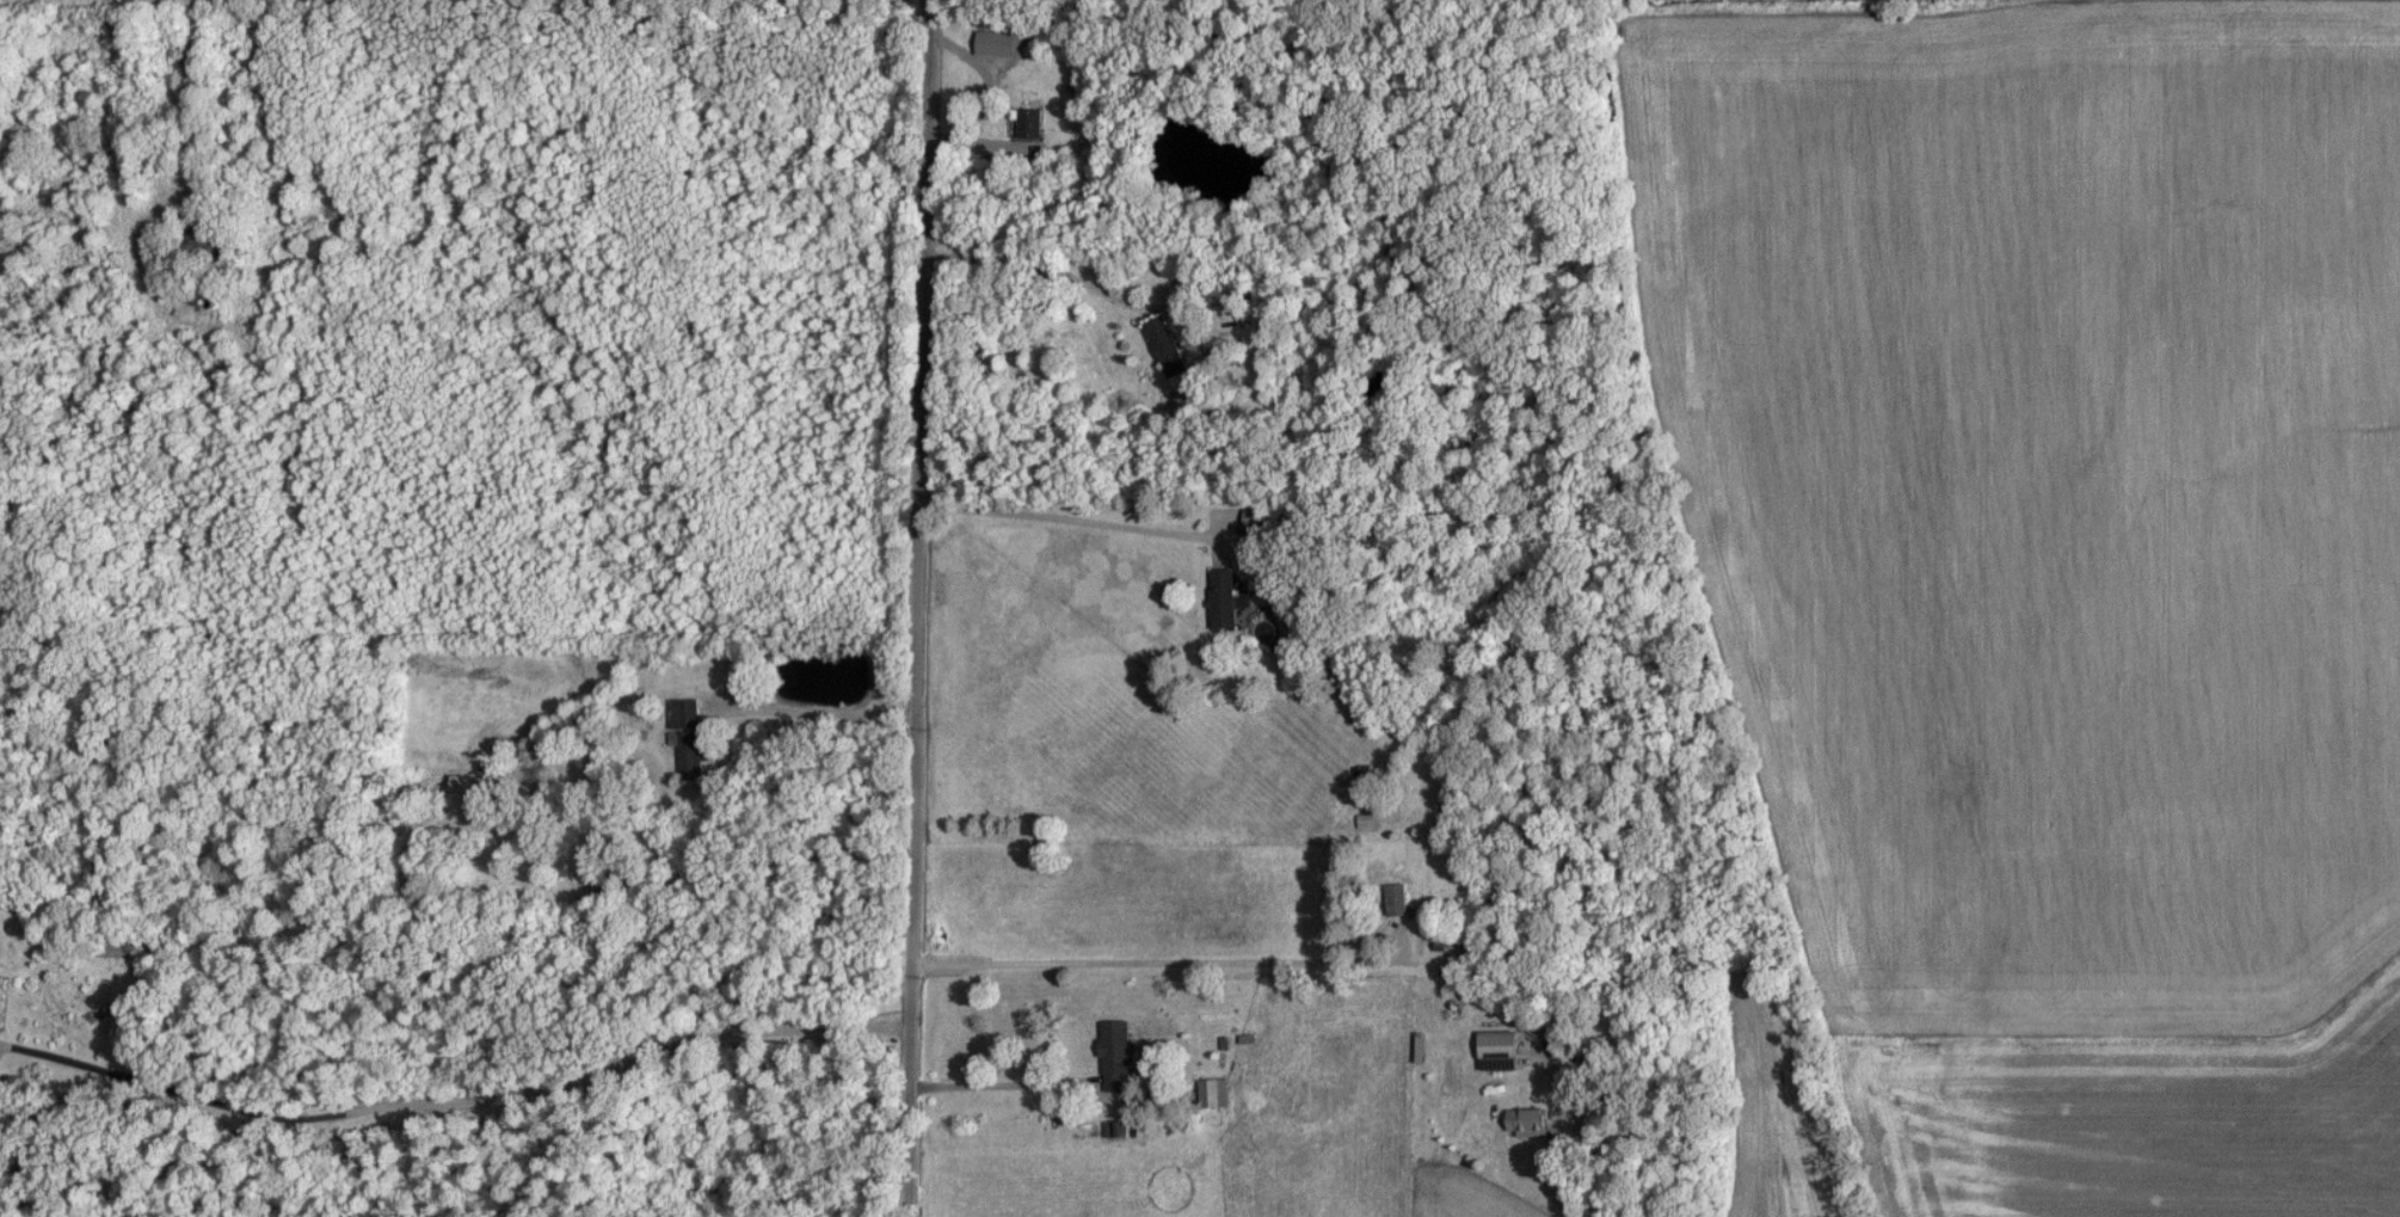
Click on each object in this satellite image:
building: (999, 47)
road: (192, 105)
building: (1029, 125)
road: (1045, 258)
building: (1171, 352)
road: (1073, 493)
building: (1254, 520)
building: (1221, 598)
road: (913, 608)
road: (808, 713)
building: (688, 736)
building: (469, 794)
building: (1396, 902)
road: (1152, 965)
building: (0, 986)
building: (1499, 1046)
building: (1118, 1056)
road: (451, 1078)
road: (1015, 1090)
building: (1213, 1094)
road: (1601, 1120)
building: (1527, 1124)

